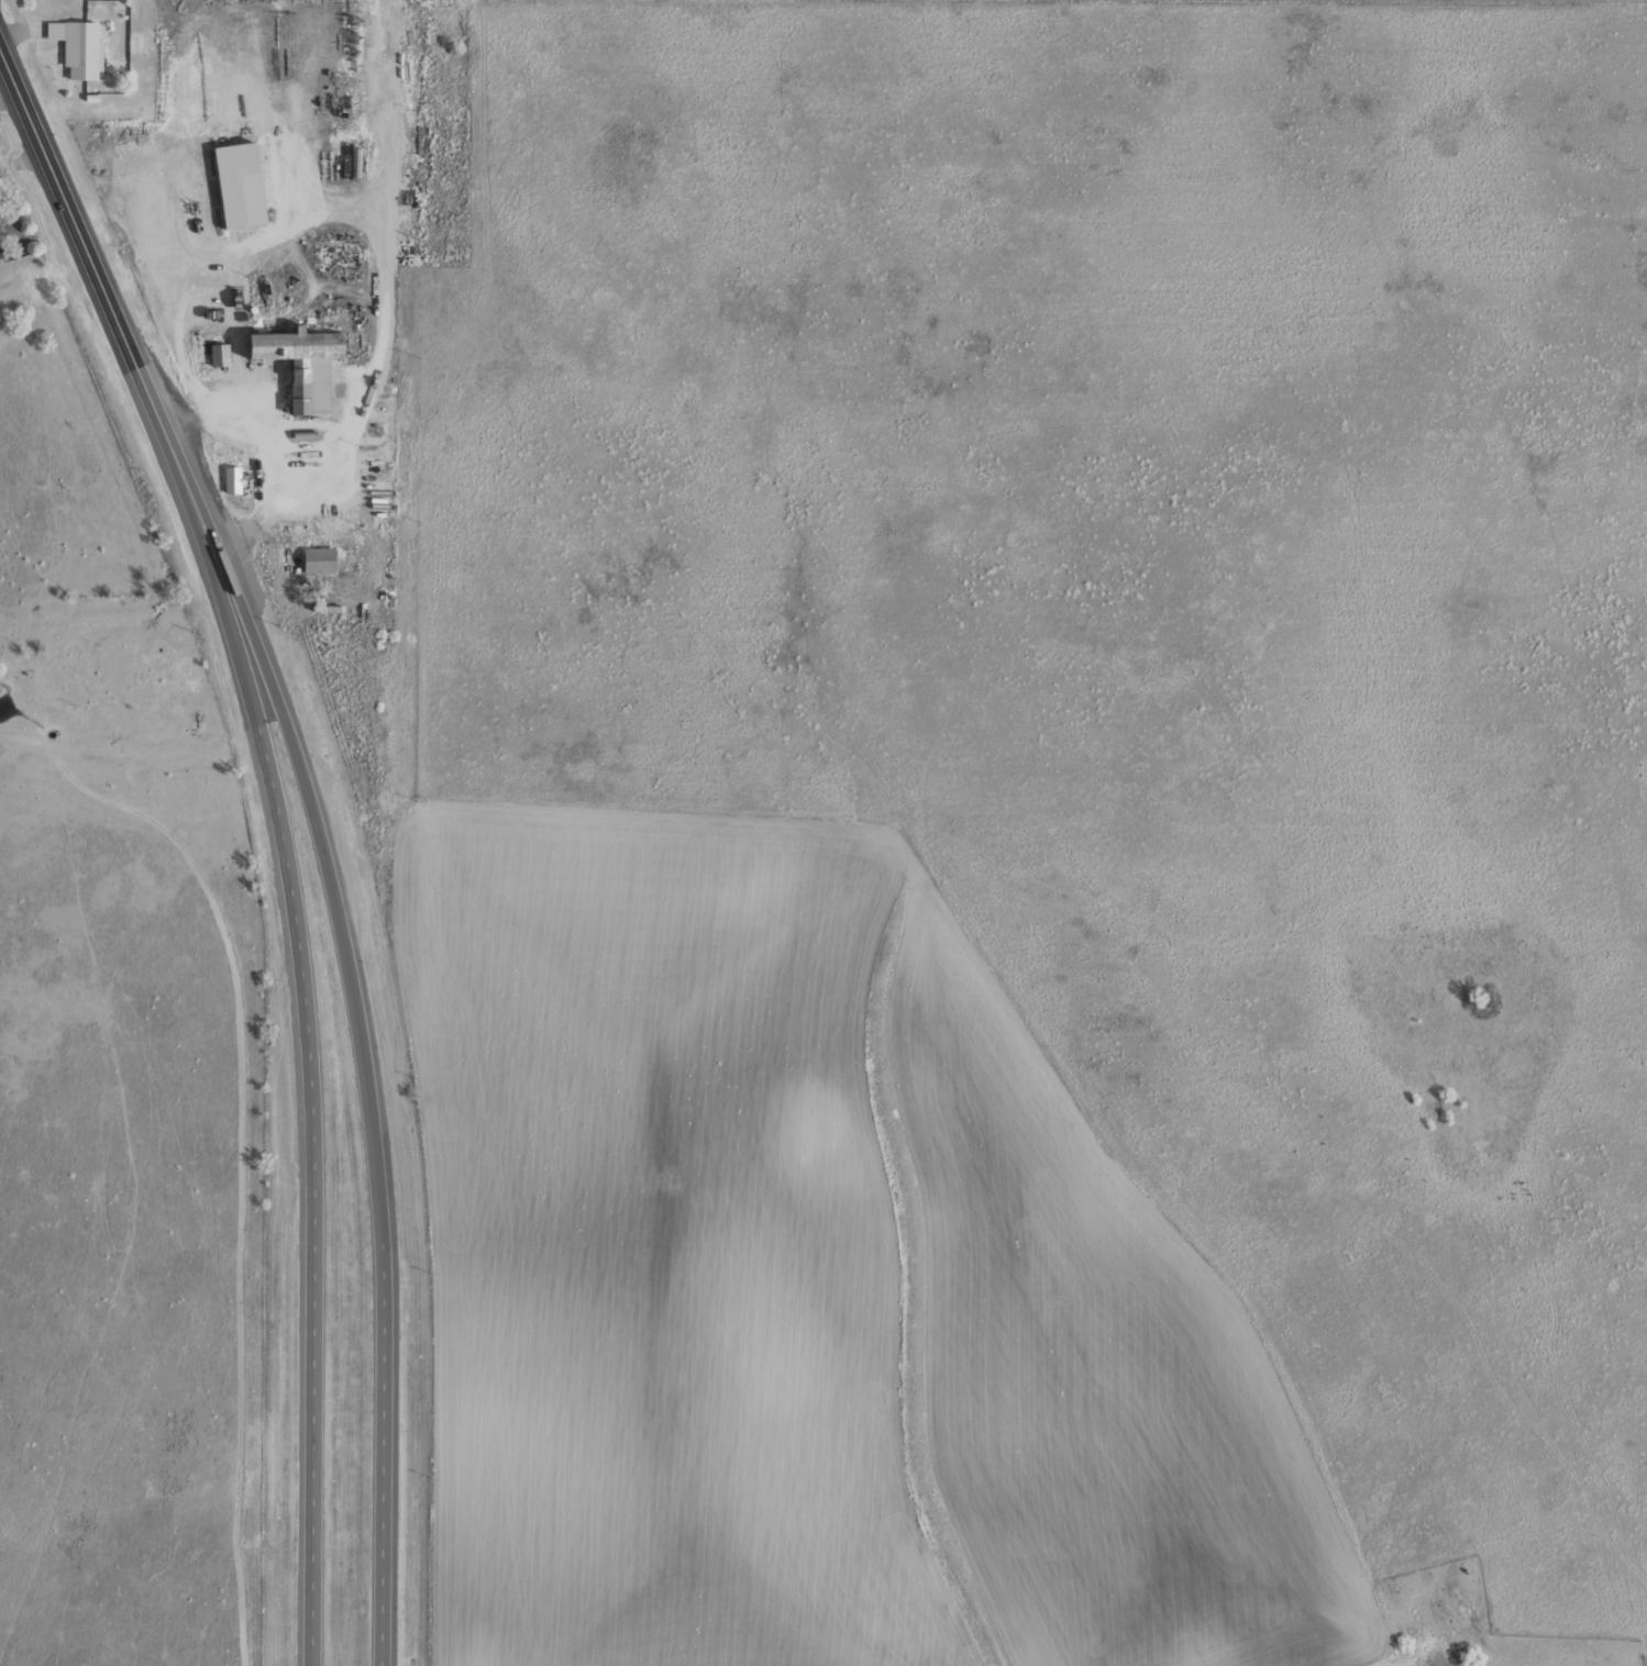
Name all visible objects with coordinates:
building: (82, 52)
road: (302, 104)
road: (363, 202)
road: (73, 218)
road: (198, 235)
road: (418, 318)
road: (255, 325)
building: (221, 356)
building: (302, 366)
building: (235, 481)
building: (405, 535)
road: (200, 556)
building: (319, 562)
road: (135, 775)
road: (306, 785)
road: (317, 1192)
road: (388, 1436)

